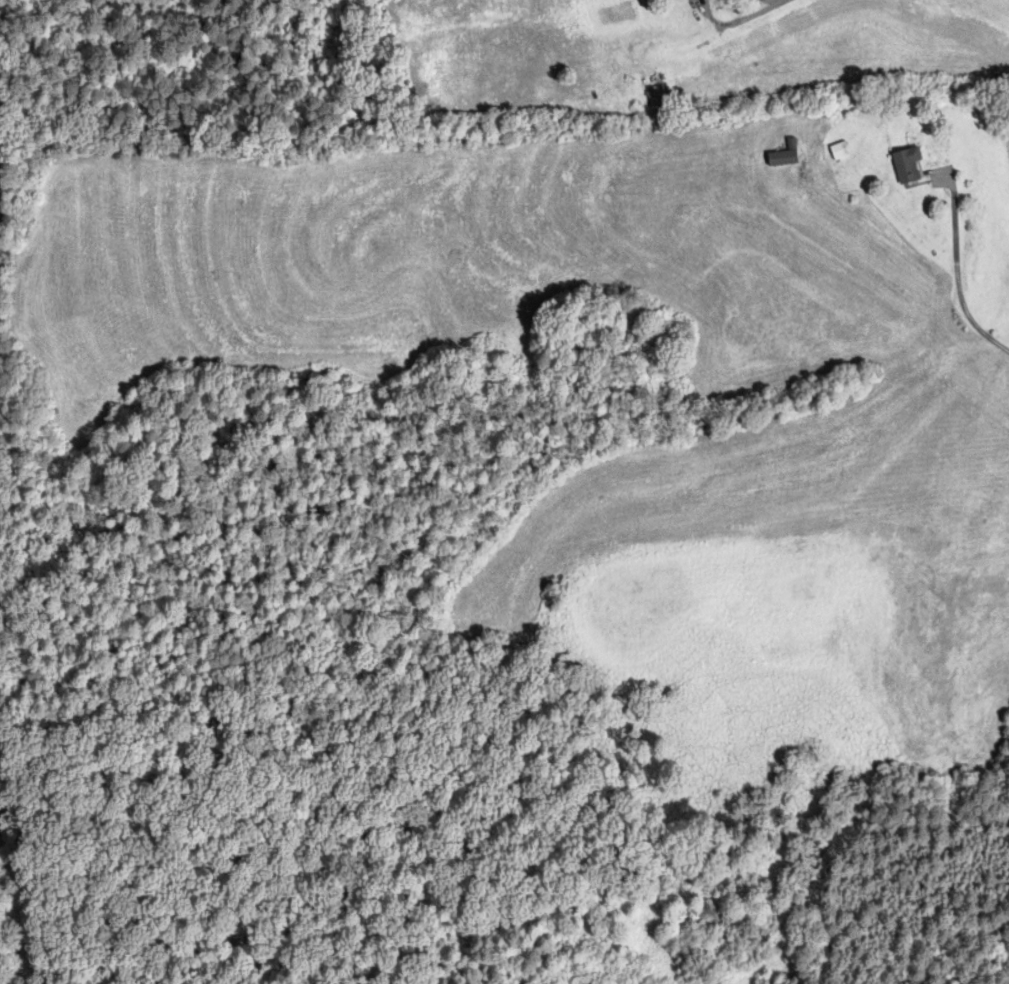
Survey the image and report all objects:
road: (779, 0)
road: (782, 0)
road: (736, 21)
building: (664, 84)
building: (907, 166)
building: (840, 179)
road: (957, 272)

